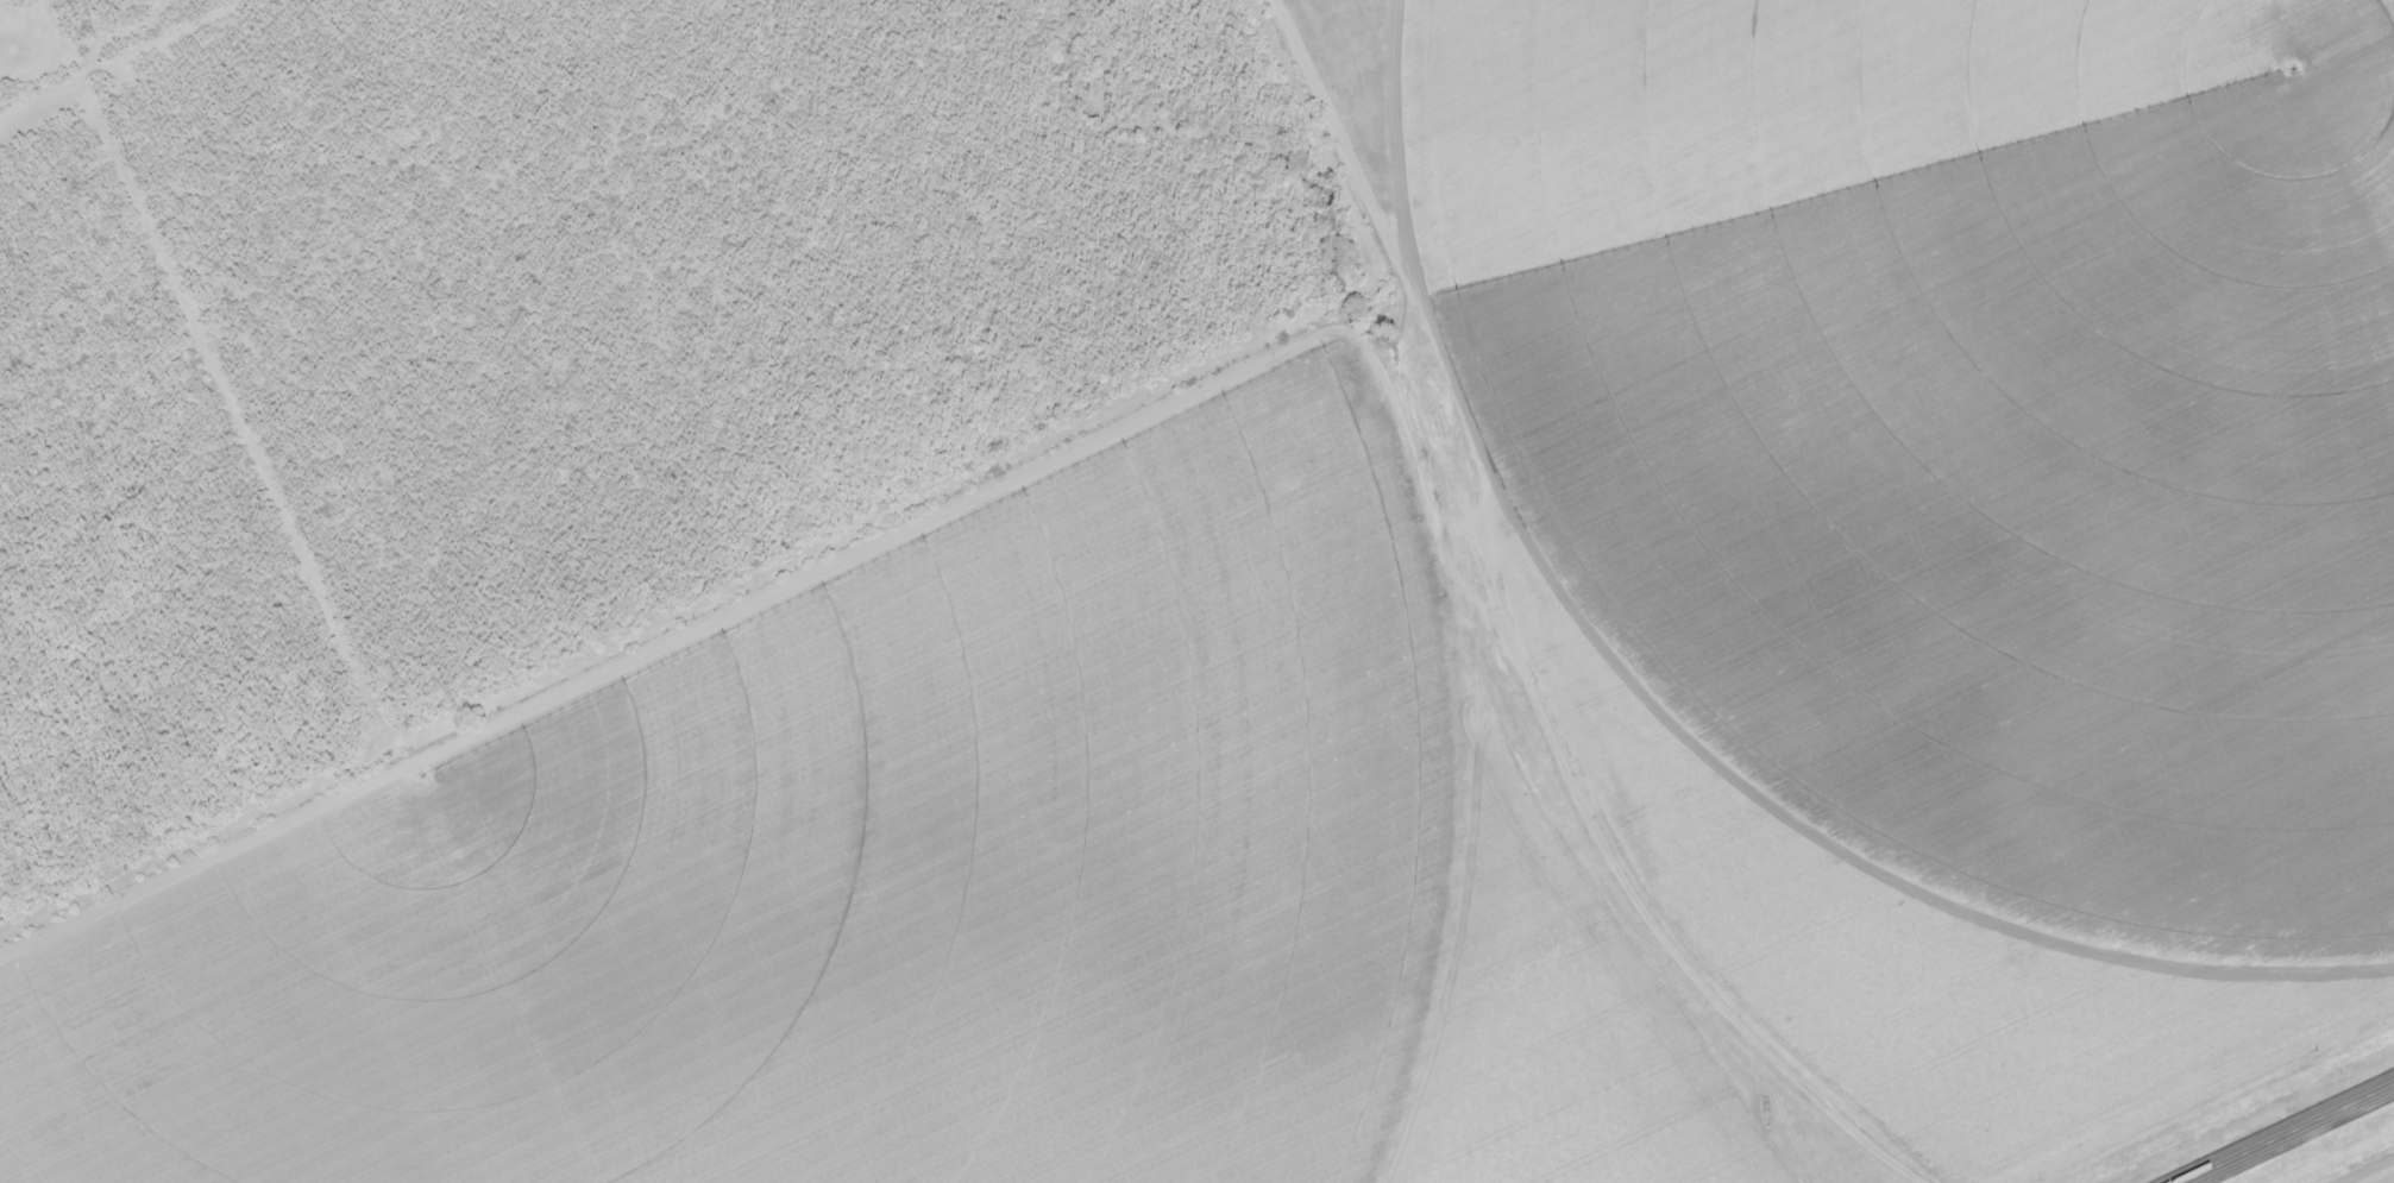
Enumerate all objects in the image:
road: (2289, 1134)

